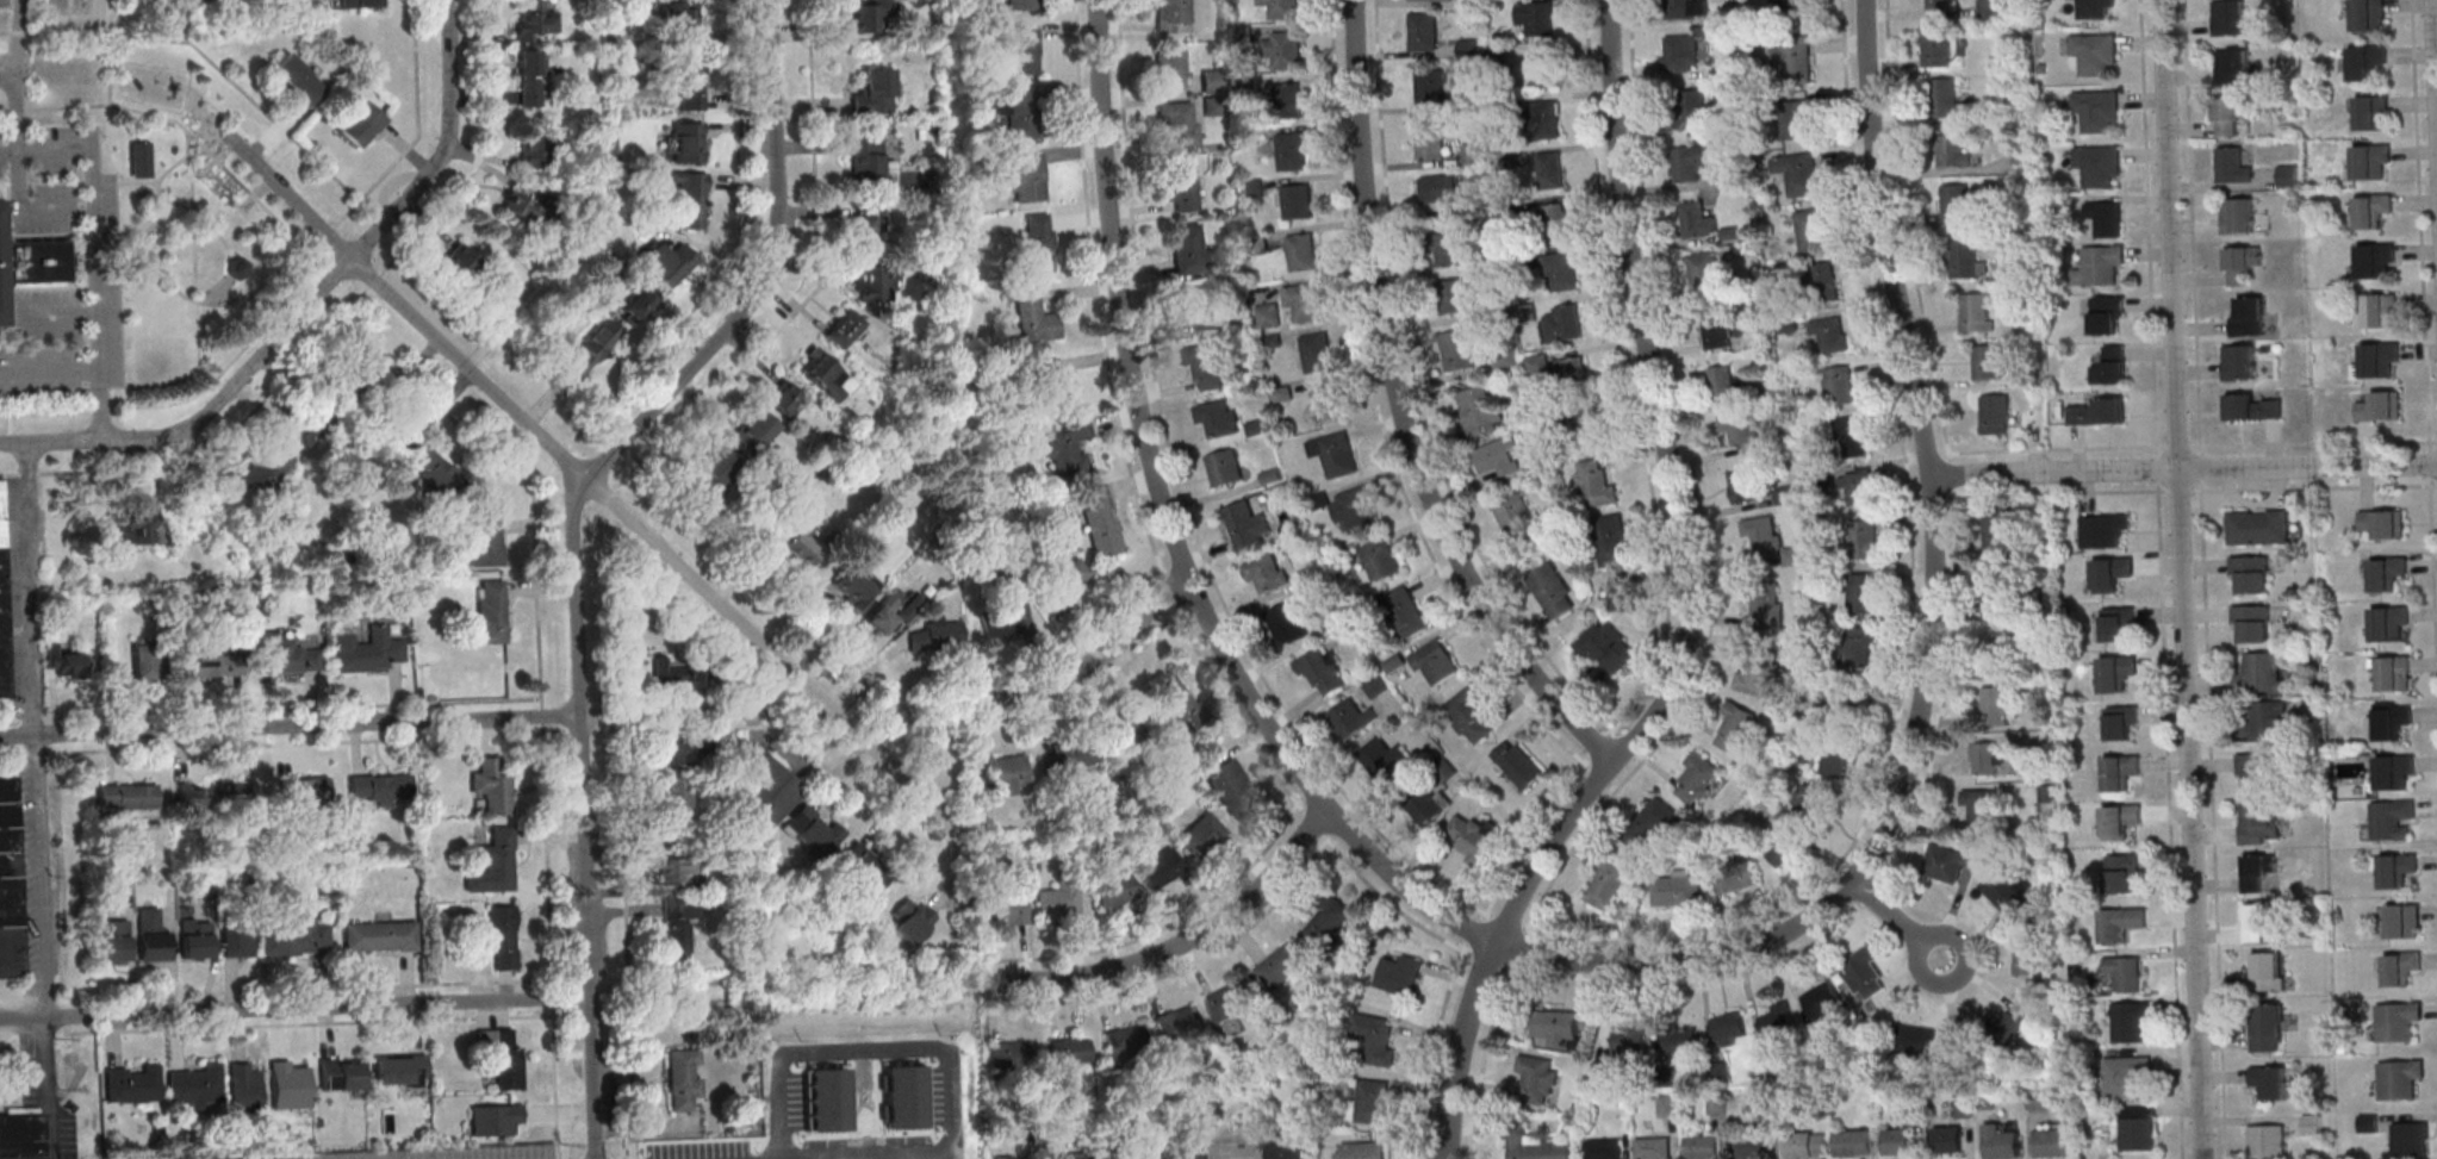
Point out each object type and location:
building: (1430, 0)
building: (360, 4)
building: (1021, 5)
building: (1938, 5)
building: (1795, 7)
building: (1282, 8)
building: (1683, 8)
building: (2096, 8)
building: (1171, 14)
building: (2369, 14)
park: (172, 15)
road: (179, 15)
building: (871, 15)
building: (1537, 17)
building: (2230, 17)
building: (533, 18)
building: (679, 18)
building: (1423, 32)
road: (94, 36)
road: (2435, 37)
building: (1938, 46)
road: (111, 48)
building: (1282, 48)
building: (1025, 50)
building: (1681, 52)
building: (1793, 58)
building: (2365, 61)
building: (2233, 66)
building: (1546, 68)
building: (1169, 69)
road: (7, 74)
building: (299, 79)
building: (529, 81)
building: (1212, 81)
building: (690, 85)
building: (1432, 86)
building: (875, 93)
building: (1289, 95)
building: (1948, 99)
building: (1213, 106)
building: (1691, 108)
building: (2097, 110)
building: (2371, 112)
building: (2231, 113)
building: (1022, 114)
building: (1547, 119)
building: (1795, 119)
road: (181, 123)
building: (1180, 123)
building: (361, 124)
road: (418, 130)
building: (1428, 138)
road: (17, 141)
road: (188, 142)
building: (686, 142)
building: (1953, 150)
building: (534, 152)
building: (1291, 152)
building: (138, 158)
building: (2371, 161)
building: (1689, 162)
building: (870, 163)
building: (2233, 164)
building: (2099, 166)
building: (1552, 169)
building: (1798, 173)
building: (2288, 175)
building: (1026, 176)
parking lot: (57, 179)
road: (126, 182)
building: (1181, 187)
road: (460, 188)
building: (1252, 188)
building: (1441, 192)
building: (690, 200)
building: (1295, 201)
building: (201, 202)
building: (1954, 202)
park: (178, 205)
road: (195, 207)
building: (520, 207)
building: (2373, 210)
building: (2238, 214)
building: (2106, 217)
building: (1556, 220)
building: (1698, 220)
building: (865, 228)
building: (1811, 229)
road: (144, 231)
road: (329, 235)
building: (1039, 243)
building: (1258, 245)
road: (97, 247)
building: (1449, 248)
building: (1188, 249)
building: (1303, 251)
road: (149, 258)
building: (459, 258)
building: (1966, 258)
building: (2376, 260)
building: (31, 262)
road: (307, 262)
building: (666, 262)
road: (235, 263)
building: (2242, 263)
building: (2101, 266)
building: (237, 268)
building: (1561, 269)
building: (1705, 273)
road: (131, 274)
building: (1823, 282)
building: (874, 285)
road: (257, 287)
road: (319, 293)
building: (1454, 295)
building: (1303, 300)
building: (639, 303)
road: (334, 306)
building: (1200, 307)
road: (309, 309)
road: (406, 309)
building: (2380, 310)
building: (1977, 311)
building: (2107, 313)
road: (58, 314)
building: (1268, 314)
building: (2248, 314)
building: (1034, 317)
building: (1563, 323)
building: (844, 330)
building: (1717, 330)
road: (2425, 332)
building: (1830, 334)
parking lot: (64, 342)
building: (591, 349)
building: (1459, 350)
building: (1317, 351)
building: (2377, 360)
building: (1988, 361)
building: (2239, 361)
building: (2110, 364)
building: (1207, 366)
road: (50, 370)
building: (1573, 372)
building: (826, 375)
building: (1726, 381)
building: (353, 382)
building: (1051, 385)
building: (1839, 385)
building: (1282, 393)
building: (785, 398)
road: (178, 403)
building: (1326, 403)
building: (2255, 406)
building: (2380, 406)
road: (1400, 410)
building: (2096, 410)
building: (1481, 411)
building: (1995, 413)
building: (1218, 417)
building: (304, 425)
building: (1590, 425)
building: (1741, 426)
building: (752, 431)
building: (1851, 436)
building: (1067, 447)
building: (1333, 453)
building: (1496, 457)
building: (1226, 467)
road: (599, 468)
road: (2183, 469)
building: (435, 471)
building: (715, 473)
building: (265, 478)
building: (1596, 484)
building: (1747, 485)
building: (1858, 486)
building: (1355, 509)
building: (1513, 513)
building: (1102, 522)
building: (2383, 523)
building: (1247, 524)
building: (135, 525)
building: (2258, 525)
building: (2105, 529)
road: (1173, 530)
building: (1759, 531)
building: (1998, 532)
building: (1611, 538)
building: (1865, 538)
building: (798, 540)
building: (485, 541)
building: (1379, 560)
building: (2387, 572)
building: (1268, 573)
building: (2112, 573)
building: (2251, 573)
building: (1069, 578)
road: (2162, 579)
road: (2182, 579)
road: (2203, 579)
road: (26, 588)
building: (1553, 591)
building: (1860, 592)
building: (2001, 593)
building: (1622, 594)
building: (1765, 604)
building: (4, 605)
road: (1687, 607)
building: (1405, 610)
building: (893, 613)
building: (487, 615)
building: (1000, 619)
building: (2252, 622)
building: (1287, 623)
building: (2389, 623)
building: (2118, 624)
building: (938, 635)
road: (1931, 640)
building: (1859, 644)
road: (764, 647)
building: (1606, 647)
building: (2006, 647)
building: (367, 650)
building: (282, 656)
road: (1098, 658)
building: (143, 661)
building: (63, 662)
building: (1434, 662)
building: (206, 663)
building: (1323, 671)
building: (2262, 671)
building: (2116, 672)
building: (1760, 673)
building: (2394, 673)
building: (674, 674)
building: (1995, 702)
building: (1177, 703)
building: (1835, 708)
road: (707, 714)
building: (1469, 714)
building: (1350, 718)
building: (2262, 719)
building: (2392, 719)
building: (2121, 721)
building: (1125, 724)
building: (1733, 725)
road: (307, 728)
road: (17, 736)
road: (268, 744)
building: (678, 748)
building: (1071, 755)
building: (1384, 758)
building: (1990, 758)
building: (1835, 761)
building: (1518, 764)
building: (2255, 769)
building: (2121, 771)
building: (2394, 771)
building: (1007, 773)
building: (1698, 779)
building: (379, 785)
building: (492, 786)
building: (775, 786)
building: (1231, 786)
building: (305, 790)
building: (211, 795)
building: (126, 796)
building: (672, 798)
building: (1814, 803)
building: (1428, 804)
building: (1978, 805)
building: (2392, 820)
building: (2120, 821)
building: (2259, 822)
building: (1650, 824)
building: (813, 829)
building: (1201, 835)
building: (1473, 836)
building: (1783, 847)
building: (1951, 860)
building: (493, 864)
building: (864, 866)
building: (676, 868)
building: (1161, 868)
building: (2396, 870)
building: (2257, 871)
building: (2122, 872)
building: (1737, 876)
road: (39, 879)
building: (8, 881)
building: (1609, 884)
building: (1678, 887)
building: (1114, 890)
building: (2007, 890)
building: (1059, 901)
road: (549, 902)
building: (1007, 908)
building: (910, 920)
building: (1330, 921)
road: (1896, 921)
building: (2257, 921)
building: (2402, 921)
building: (2121, 923)
building: (676, 926)
building: (151, 936)
building: (379, 936)
building: (499, 936)
building: (194, 937)
building: (297, 939)
building: (112, 941)
building: (236, 942)
road: (1183, 945)
building: (2027, 954)
building: (1283, 964)
building: (2400, 967)
building: (2268, 971)
building: (1398, 972)
building: (1864, 972)
building: (2126, 972)
building: (1230, 1001)
building: (1823, 1001)
road: (294, 1010)
building: (1777, 1020)
building: (2398, 1020)
building: (2132, 1021)
building: (1177, 1023)
building: (2012, 1023)
building: (1556, 1027)
building: (1729, 1027)
building: (2268, 1027)
building: (1374, 1038)
building: (1681, 1039)
building: (1916, 1040)
building: (1630, 1041)
building: (1126, 1042)
road: (941, 1048)
building: (1070, 1051)
building: (1011, 1055)
building: (502, 1058)
building: (399, 1071)
building: (340, 1073)
building: (2125, 1074)
road: (592, 1078)
building: (683, 1078)
building: (2400, 1078)
building: (1538, 1080)
building: (2270, 1080)
building: (290, 1083)
building: (132, 1084)
building: (244, 1086)
building: (195, 1088)
road: (48, 1091)
parking lot: (935, 1095)
building: (903, 1096)
building: (826, 1098)
parking lot: (794, 1099)
building: (1372, 1101)
building: (2312, 1123)
building: (2138, 1127)
building: (20, 1136)
building: (1948, 1139)
building: (2410, 1139)
building: (1898, 1140)
building: (2052, 1140)
building: (2268, 1140)
building: (2002, 1141)
building: (1855, 1142)
building: (1805, 1144)
building: (1536, 1146)
building: (1703, 1146)
building: (1754, 1146)
building: (1654, 1147)
building: (1604, 1148)
parking lot: (700, 1149)
building: (1236, 1149)
building: (1361, 1149)
building: (1182, 1151)
building: (1286, 1151)
building: (1068, 1155)
building: (1129, 1155)
road: (876, 1157)
building: (1008, 1157)

